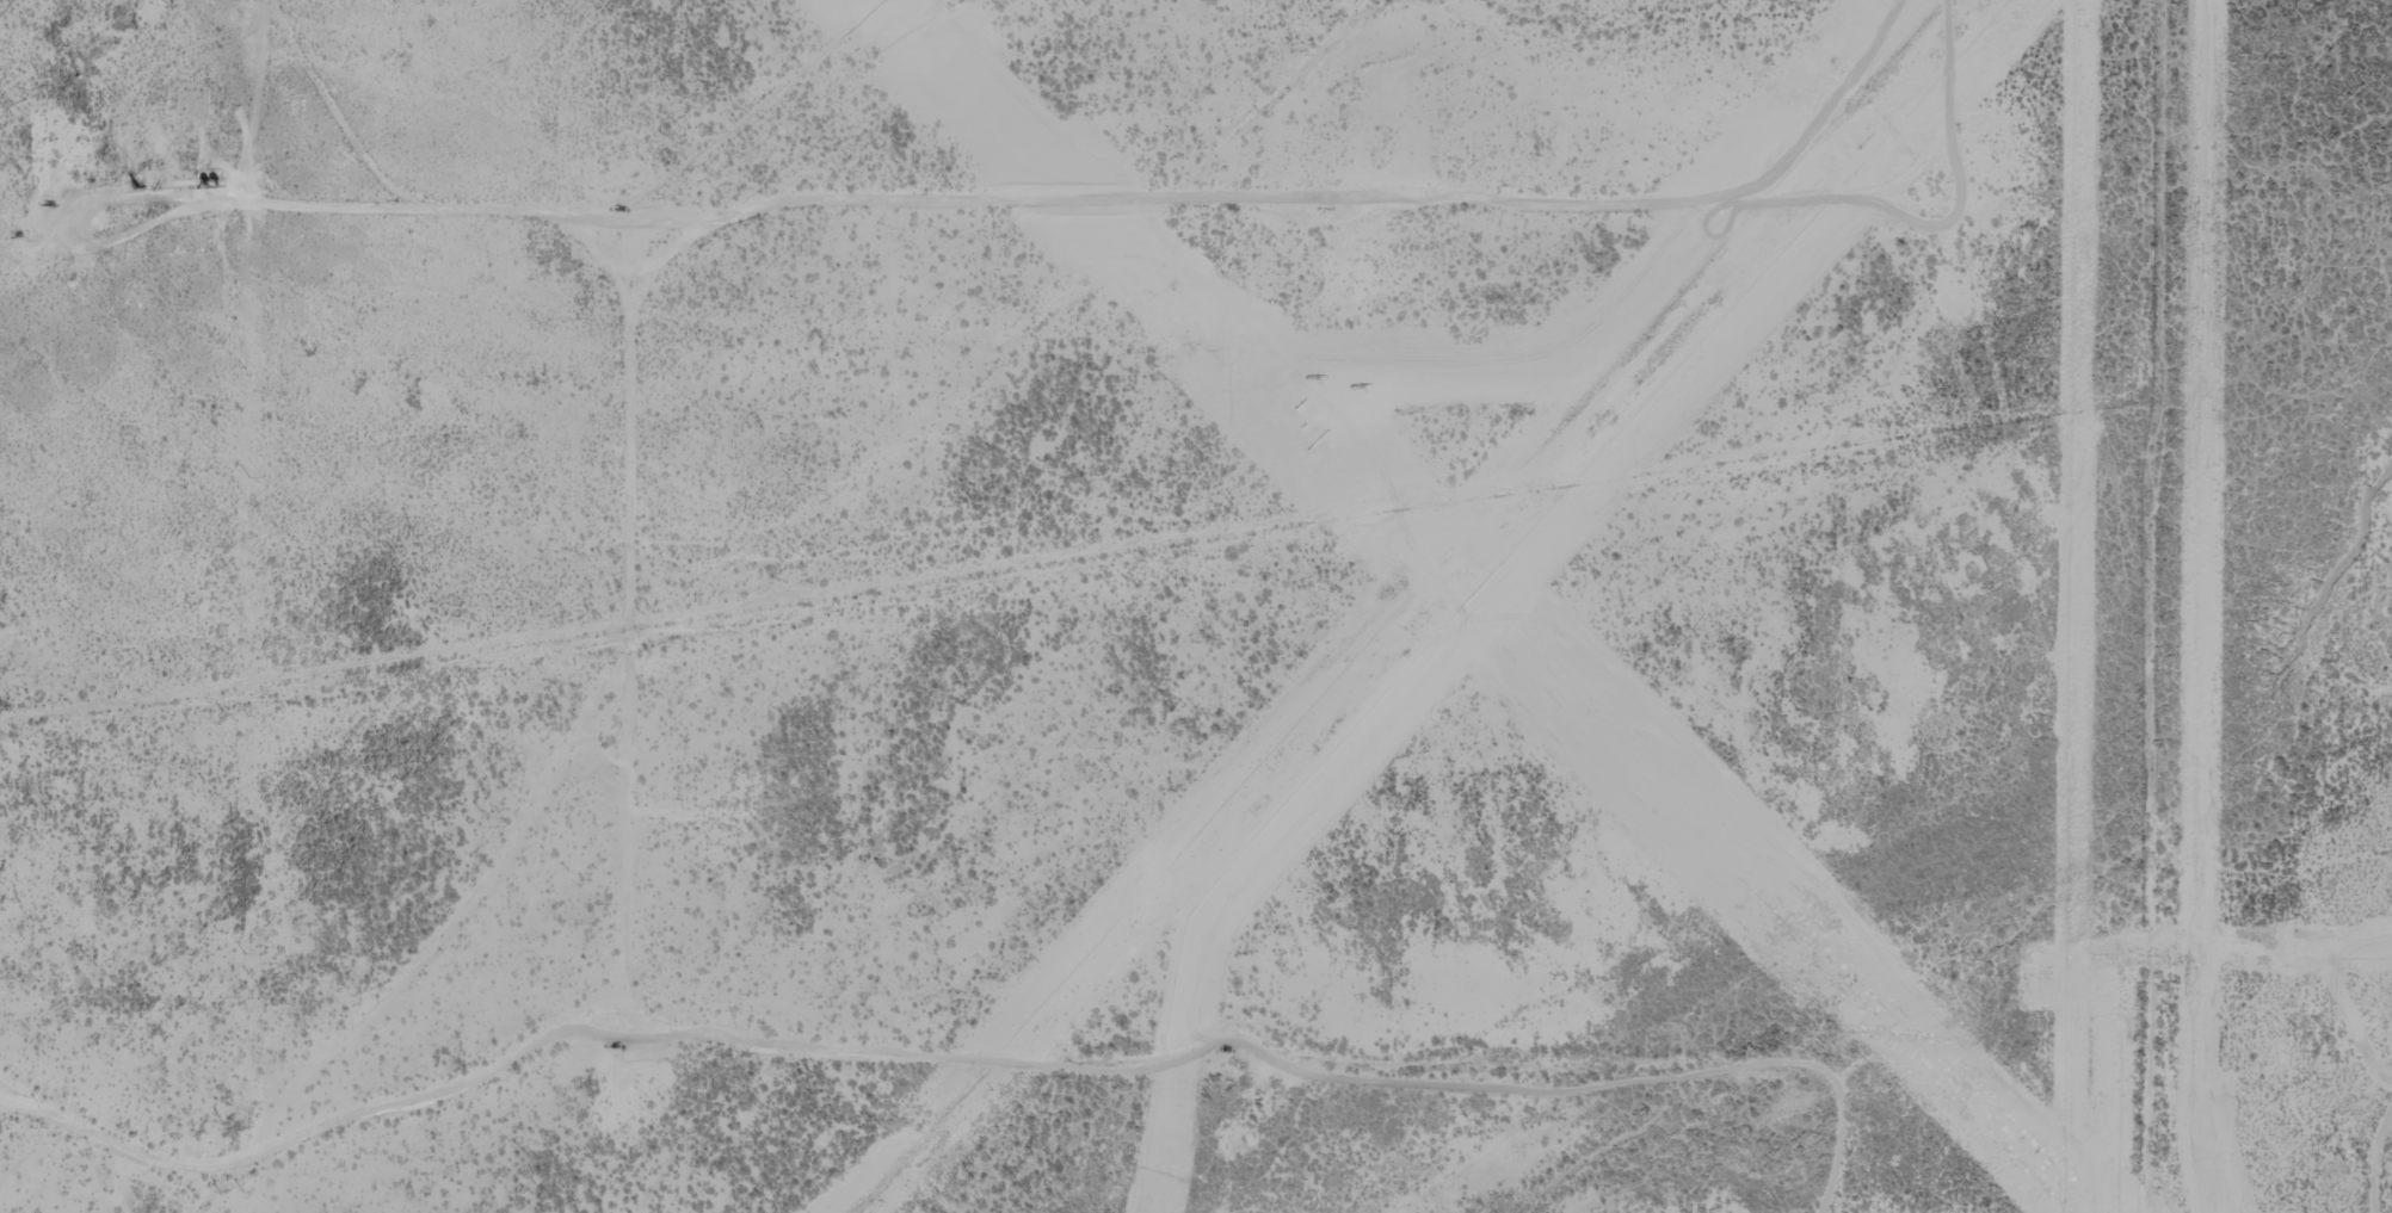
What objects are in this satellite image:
road: (1838, 1166)
road: (2387, 1178)

